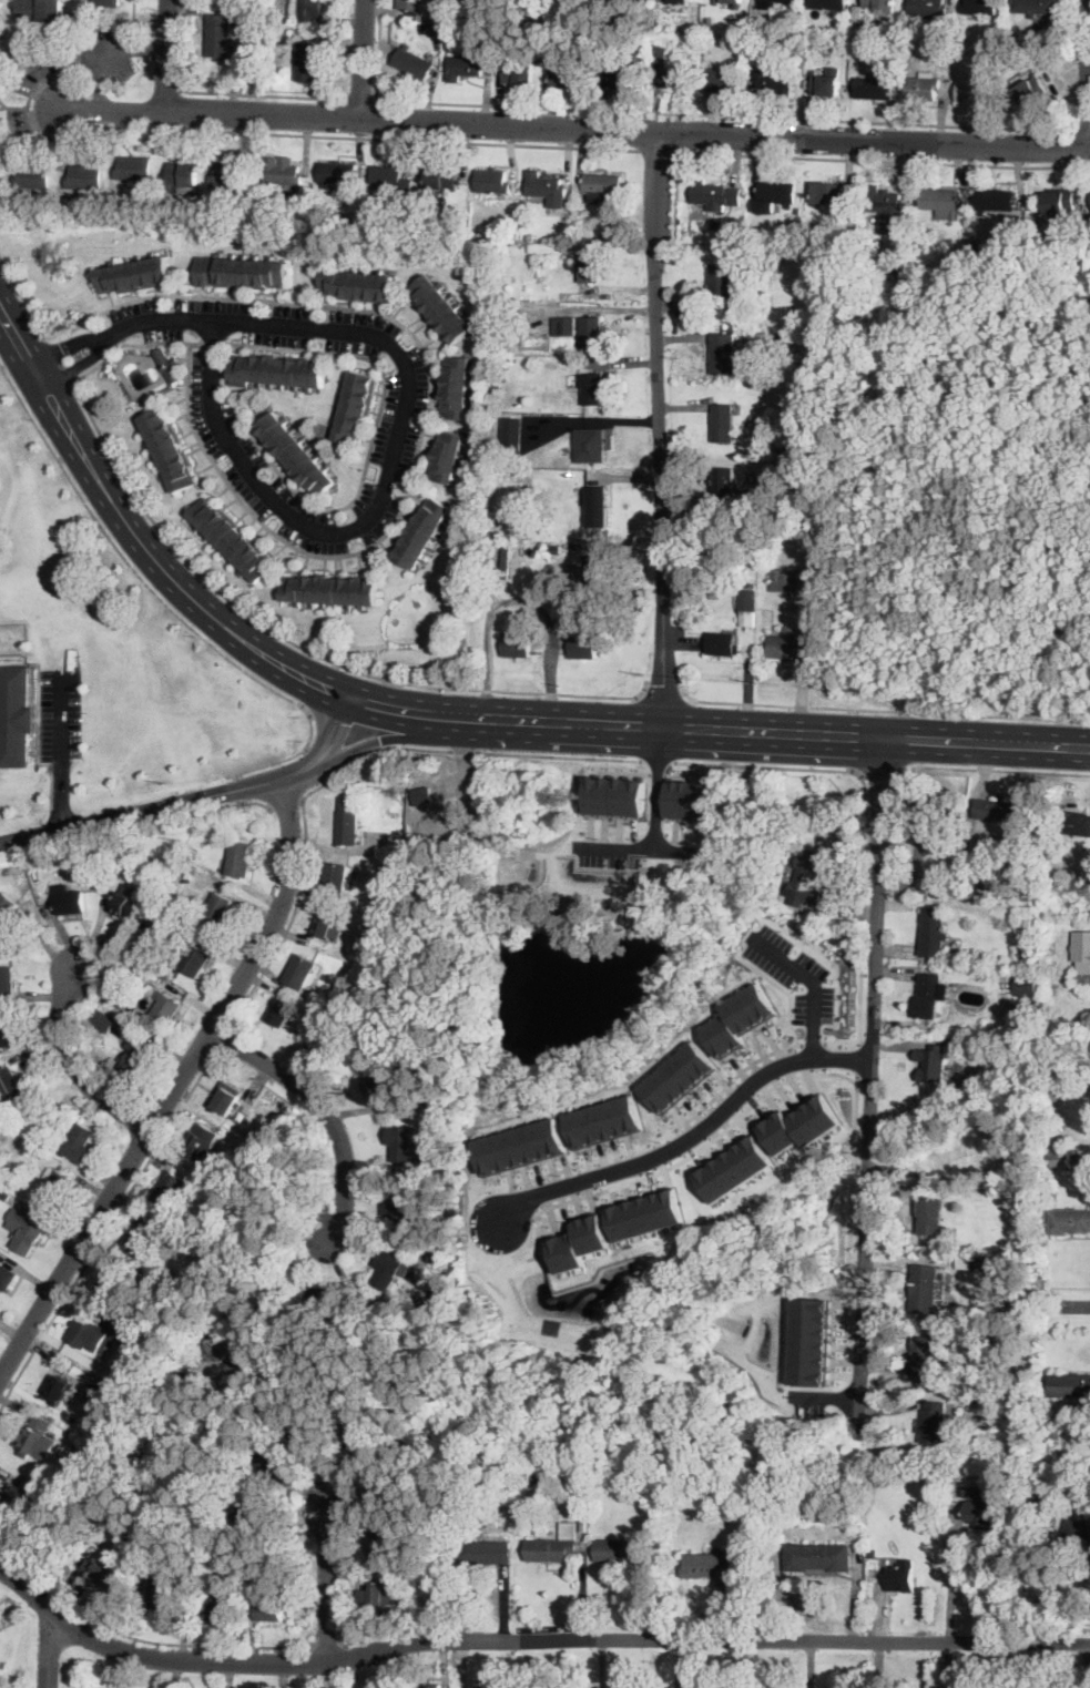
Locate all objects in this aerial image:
building: (730, 0)
building: (680, 1)
building: (108, 2)
building: (567, 2)
building: (773, 3)
building: (879, 3)
building: (411, 4)
building: (827, 4)
building: (979, 7)
building: (1035, 7)
building: (928, 8)
building: (39, 10)
building: (307, 10)
building: (857, 13)
building: (610, 16)
building: (710, 21)
building: (426, 28)
building: (438, 31)
building: (218, 35)
building: (875, 37)
building: (793, 48)
road: (104, 49)
road: (379, 50)
road: (166, 54)
road: (364, 60)
building: (414, 62)
building: (307, 63)
road: (1086, 63)
building: (465, 64)
building: (670, 69)
building: (518, 74)
building: (617, 75)
building: (568, 77)
building: (774, 78)
building: (723, 79)
building: (826, 82)
building: (875, 87)
building: (923, 87)
building: (1030, 89)
building: (975, 90)
road: (218, 93)
road: (361, 100)
road: (726, 115)
road: (1082, 128)
road: (570, 129)
road: (293, 135)
road: (658, 150)
road: (831, 159)
building: (133, 167)
building: (269, 170)
building: (287, 172)
building: (337, 173)
building: (180, 174)
building: (230, 175)
building: (32, 176)
building: (84, 176)
building: (387, 177)
building: (441, 177)
building: (492, 181)
building: (601, 185)
building: (547, 187)
building: (827, 192)
building: (714, 194)
building: (775, 195)
building: (995, 200)
building: (941, 202)
building: (1060, 203)
building: (886, 209)
building: (268, 211)
building: (314, 218)
building: (326, 221)
building: (390, 223)
building: (409, 223)
building: (421, 223)
building: (448, 223)
building: (463, 225)
building: (719, 226)
building: (493, 235)
building: (528, 237)
building: (1002, 245)
building: (760, 265)
building: (589, 267)
building: (240, 271)
building: (134, 274)
building: (356, 284)
building: (720, 285)
road: (23, 296)
building: (751, 307)
building: (440, 308)
building: (564, 326)
building: (591, 332)
building: (780, 337)
road: (213, 343)
road: (131, 344)
road: (65, 346)
road: (22, 347)
building: (723, 352)
building: (826, 354)
building: (507, 359)
road: (58, 360)
road: (77, 364)
building: (169, 364)
building: (278, 369)
building: (529, 385)
building: (456, 386)
building: (592, 387)
building: (355, 406)
road: (426, 416)
building: (784, 416)
building: (722, 423)
road: (656, 430)
building: (512, 434)
road: (396, 438)
road: (371, 441)
building: (591, 446)
building: (167, 448)
building: (294, 452)
building: (447, 455)
building: (723, 479)
building: (521, 491)
building: (595, 507)
building: (421, 531)
building: (232, 538)
building: (818, 538)
building: (506, 561)
road: (161, 568)
building: (595, 568)
building: (788, 580)
building: (330, 589)
road: (521, 600)
building: (746, 600)
road: (169, 607)
building: (567, 614)
building: (722, 643)
building: (516, 644)
building: (788, 645)
road: (304, 647)
building: (583, 648)
road: (324, 687)
road: (664, 689)
road: (347, 698)
road: (882, 708)
road: (398, 711)
parking lot: (60, 714)
building: (14, 716)
road: (458, 718)
road: (62, 719)
road: (326, 728)
road: (680, 728)
road: (342, 736)
road: (387, 740)
road: (988, 743)
road: (658, 762)
road: (318, 764)
road: (767, 764)
road: (989, 767)
road: (347, 770)
road: (880, 770)
road: (656, 789)
road: (242, 790)
building: (617, 794)
building: (421, 795)
road: (63, 796)
building: (689, 800)
road: (287, 801)
road: (253, 803)
road: (160, 807)
building: (935, 807)
building: (999, 811)
building: (346, 821)
building: (1071, 822)
building: (418, 832)
road: (633, 848)
building: (191, 853)
building: (238, 858)
building: (150, 860)
building: (103, 865)
building: (405, 871)
building: (181, 873)
building: (34, 875)
building: (1055, 876)
building: (334, 878)
building: (805, 879)
building: (951, 879)
building: (999, 879)
building: (96, 884)
building: (47, 897)
building: (69, 902)
building: (124, 905)
building: (6, 909)
building: (154, 912)
building: (217, 913)
building: (1027, 914)
building: (374, 921)
building: (150, 922)
building: (324, 925)
building: (933, 931)
building: (144, 933)
building: (361, 939)
building: (1081, 950)
building: (193, 958)
building: (128, 966)
building: (300, 972)
building: (7, 979)
road: (812, 980)
building: (1028, 988)
road: (783, 989)
building: (930, 995)
building: (166, 1008)
building: (282, 1010)
road: (858, 1016)
building: (738, 1018)
building: (102, 1020)
building: (8, 1033)
road: (224, 1039)
road: (812, 1044)
road: (858, 1056)
building: (134, 1059)
building: (931, 1062)
road: (73, 1066)
building: (678, 1075)
road: (869, 1079)
building: (10, 1085)
building: (377, 1086)
road: (175, 1088)
building: (226, 1097)
building: (273, 1098)
building: (432, 1102)
road: (324, 1108)
building: (438, 1114)
building: (0, 1115)
building: (604, 1121)
building: (29, 1122)
building: (801, 1125)
building: (1058, 1126)
road: (690, 1135)
road: (660, 1136)
building: (200, 1141)
building: (78, 1143)
building: (405, 1145)
building: (12, 1146)
building: (520, 1146)
road: (700, 1148)
building: (7, 1153)
building: (254, 1153)
building: (1061, 1159)
building: (734, 1167)
building: (455, 1171)
building: (54, 1188)
building: (171, 1188)
building: (4, 1194)
building: (397, 1210)
building: (645, 1214)
building: (931, 1217)
building: (1069, 1221)
road: (849, 1224)
building: (26, 1228)
road: (106, 1231)
building: (141, 1238)
building: (579, 1242)
building: (438, 1257)
building: (980, 1265)
building: (387, 1270)
road: (292, 1274)
building: (7, 1277)
building: (110, 1284)
building: (924, 1289)
building: (327, 1300)
road: (1076, 1306)
building: (90, 1334)
building: (811, 1340)
building: (220, 1348)
building: (921, 1355)
building: (186, 1365)
building: (132, 1374)
building: (1070, 1385)
building: (55, 1389)
building: (969, 1399)
building: (933, 1423)
building: (309, 1432)
building: (1055, 1432)
building: (38, 1438)
building: (361, 1444)
building: (80, 1448)
building: (263, 1464)
building: (275, 1465)
building: (624, 1472)
building: (536, 1477)
building: (1038, 1486)
building: (393, 1491)
building: (971, 1491)
building: (16, 1496)
building: (980, 1512)
building: (247, 1513)
building: (841, 1523)
building: (1077, 1533)
building: (383, 1538)
building: (554, 1546)
building: (622, 1550)
building: (483, 1552)
building: (873, 1553)
building: (818, 1557)
building: (711, 1566)
building: (446, 1569)
building: (102, 1574)
road: (951, 1575)
building: (274, 1576)
building: (900, 1577)
road: (327, 1583)
building: (376, 1593)
building: (163, 1594)
building: (217, 1606)
building: (276, 1609)
building: (262, 1610)
road: (393, 1631)
road: (529, 1634)
road: (179, 1644)
road: (328, 1647)
road: (47, 1651)
building: (427, 1685)

